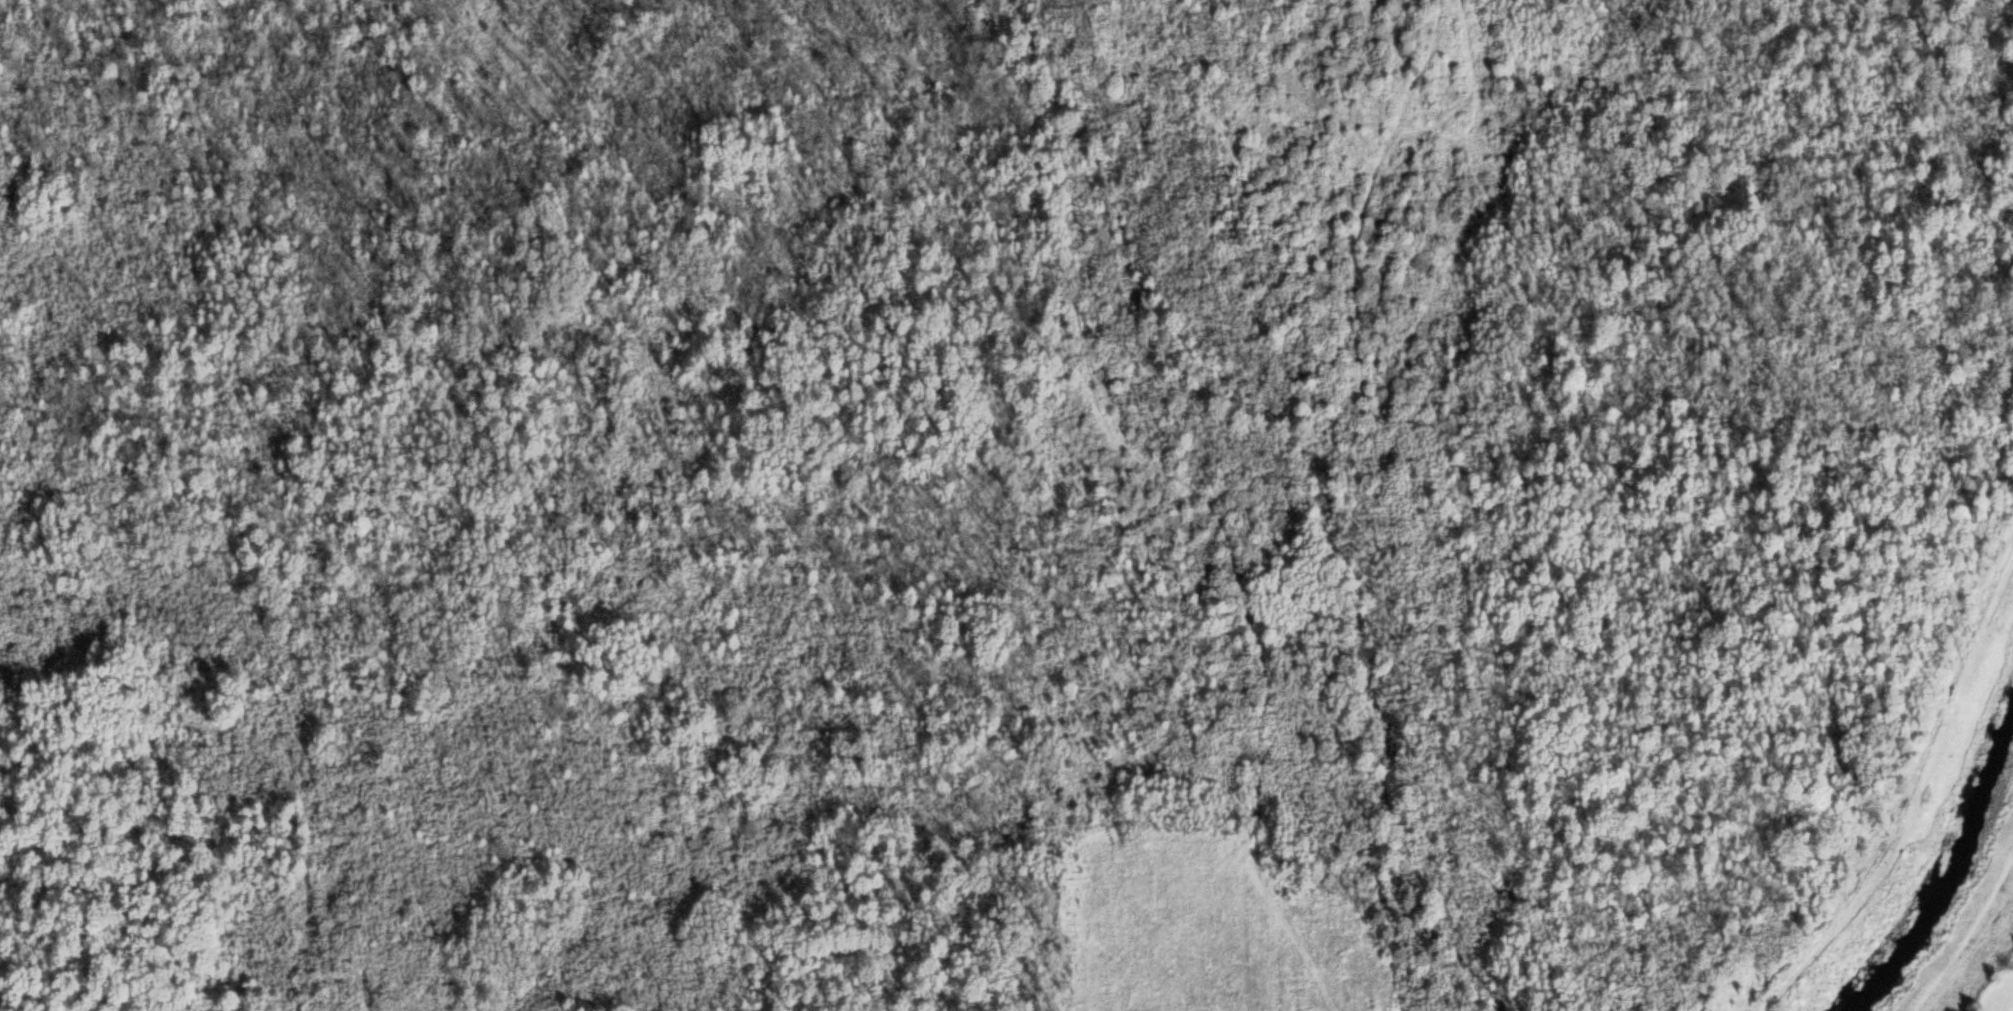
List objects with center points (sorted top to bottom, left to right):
wastewater plant: (1993, 986)

